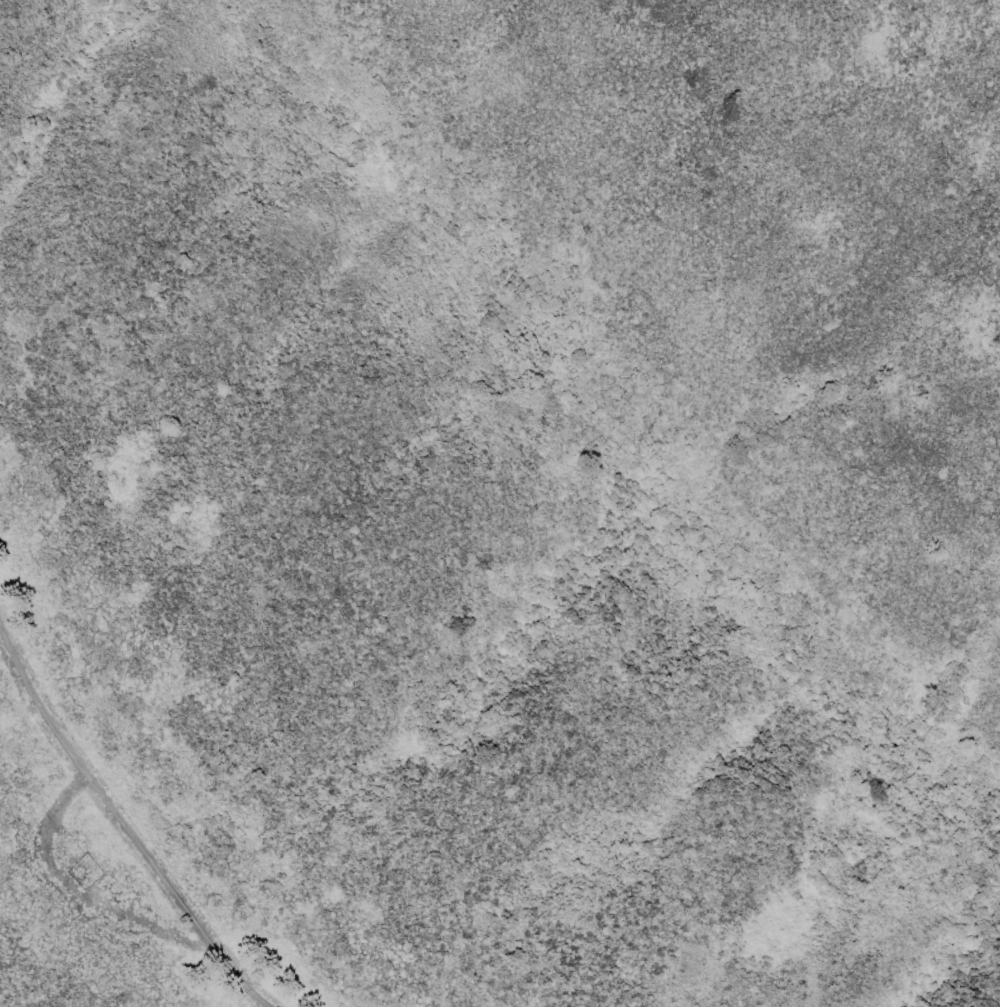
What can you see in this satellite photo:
road: (125, 830)

